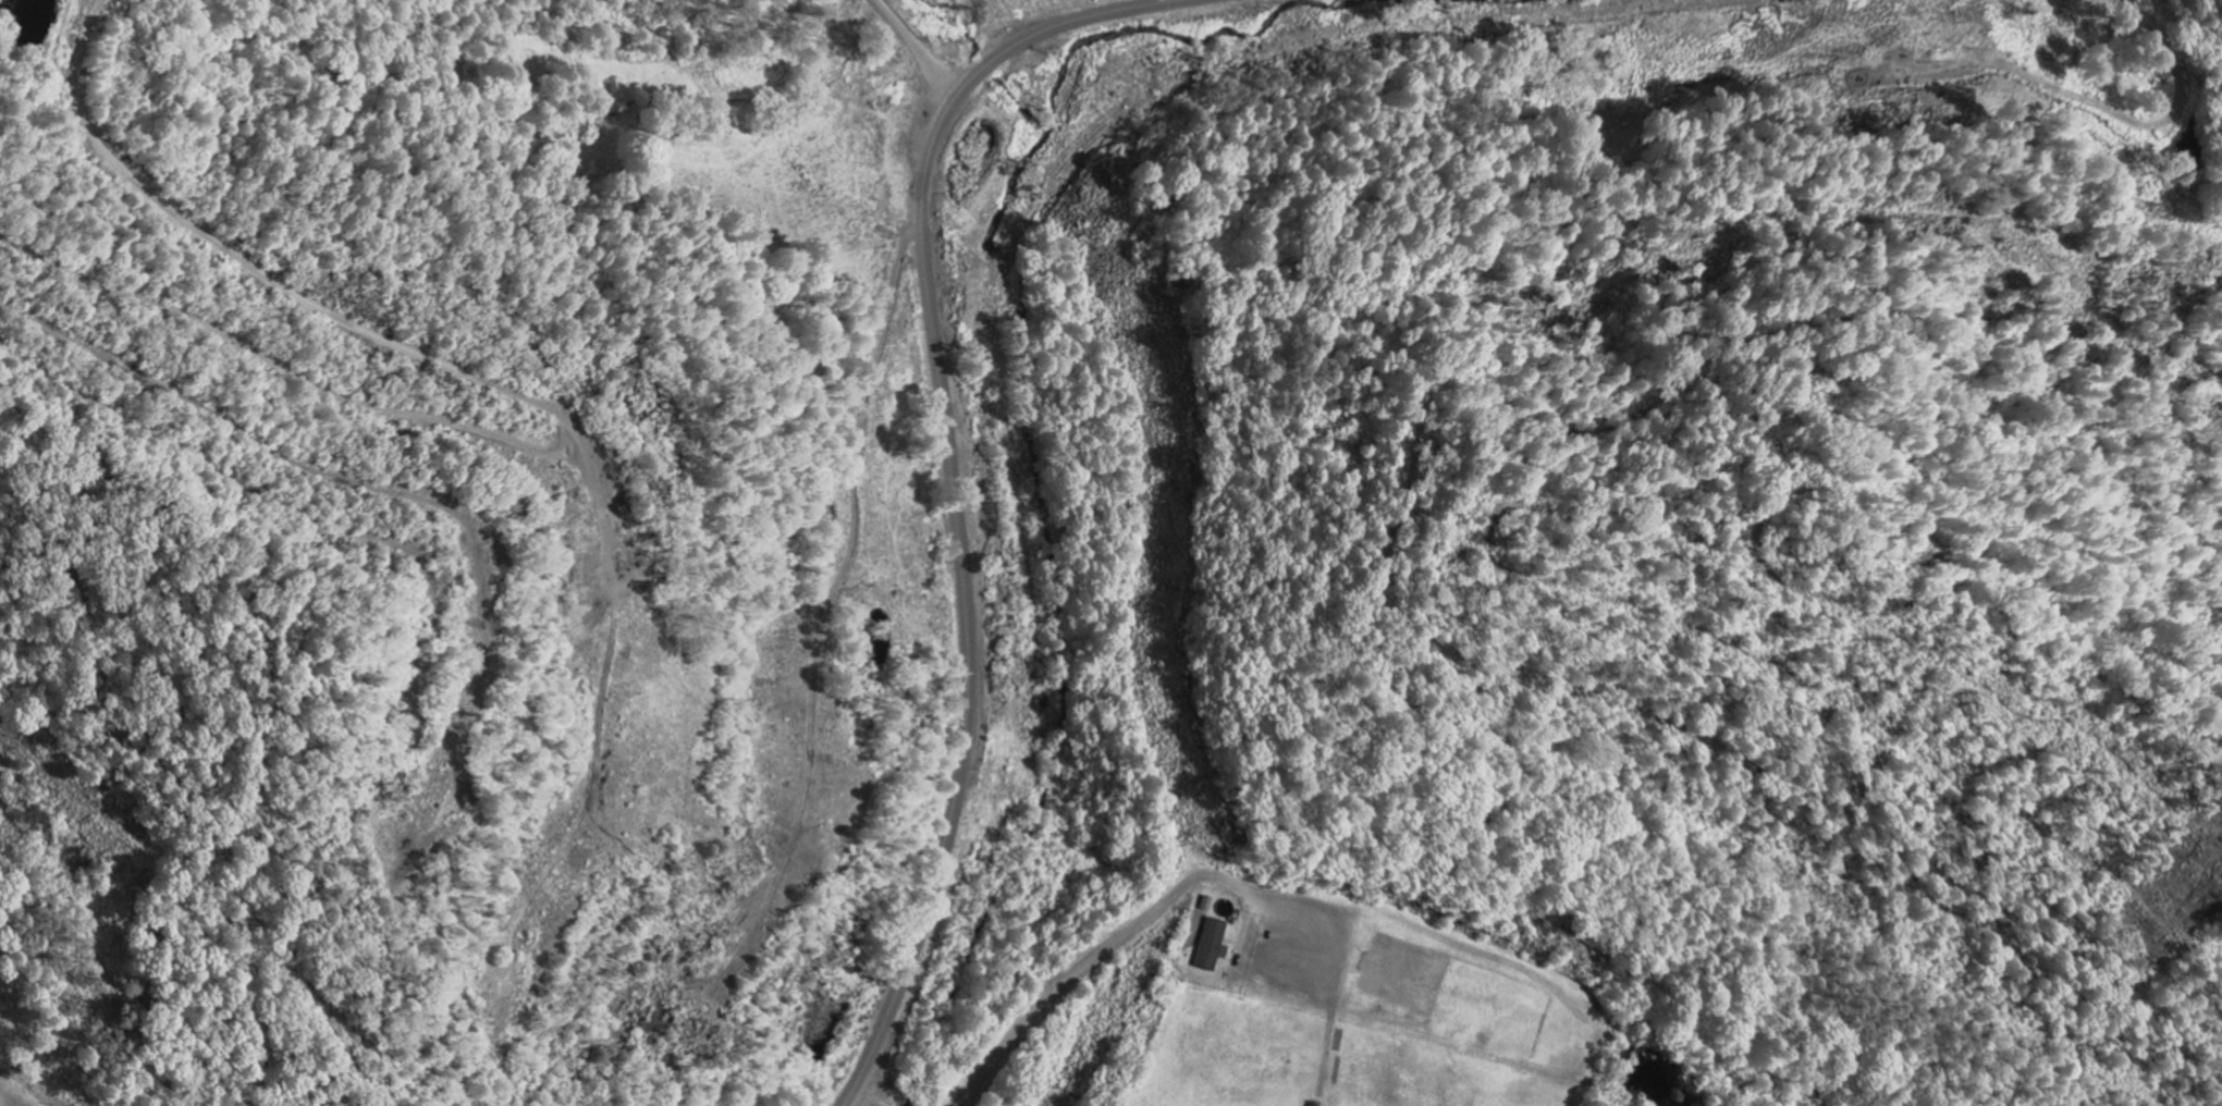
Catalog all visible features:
road: (954, 484)
building: (1213, 946)

